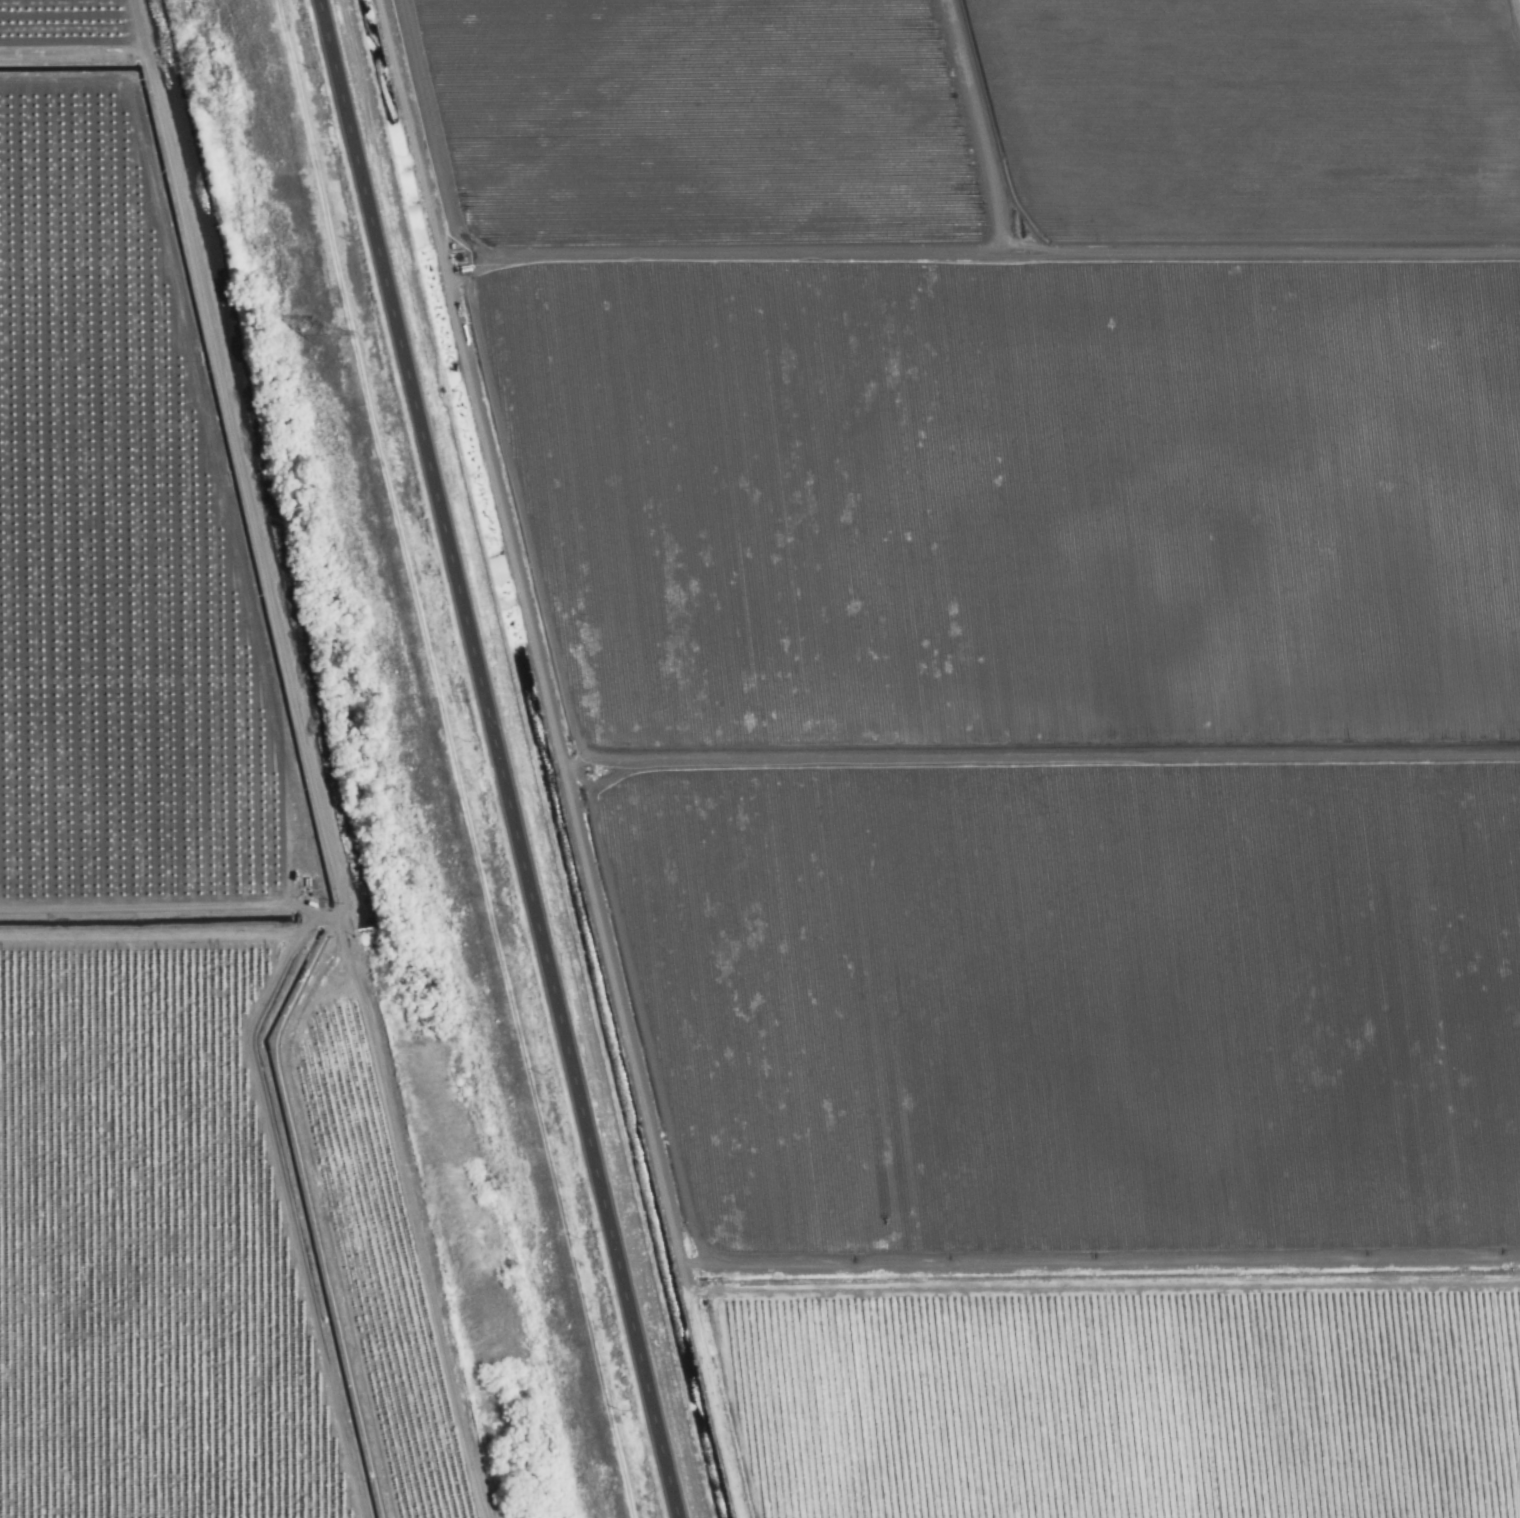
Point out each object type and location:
power tower: (318, 322)
road: (513, 758)

